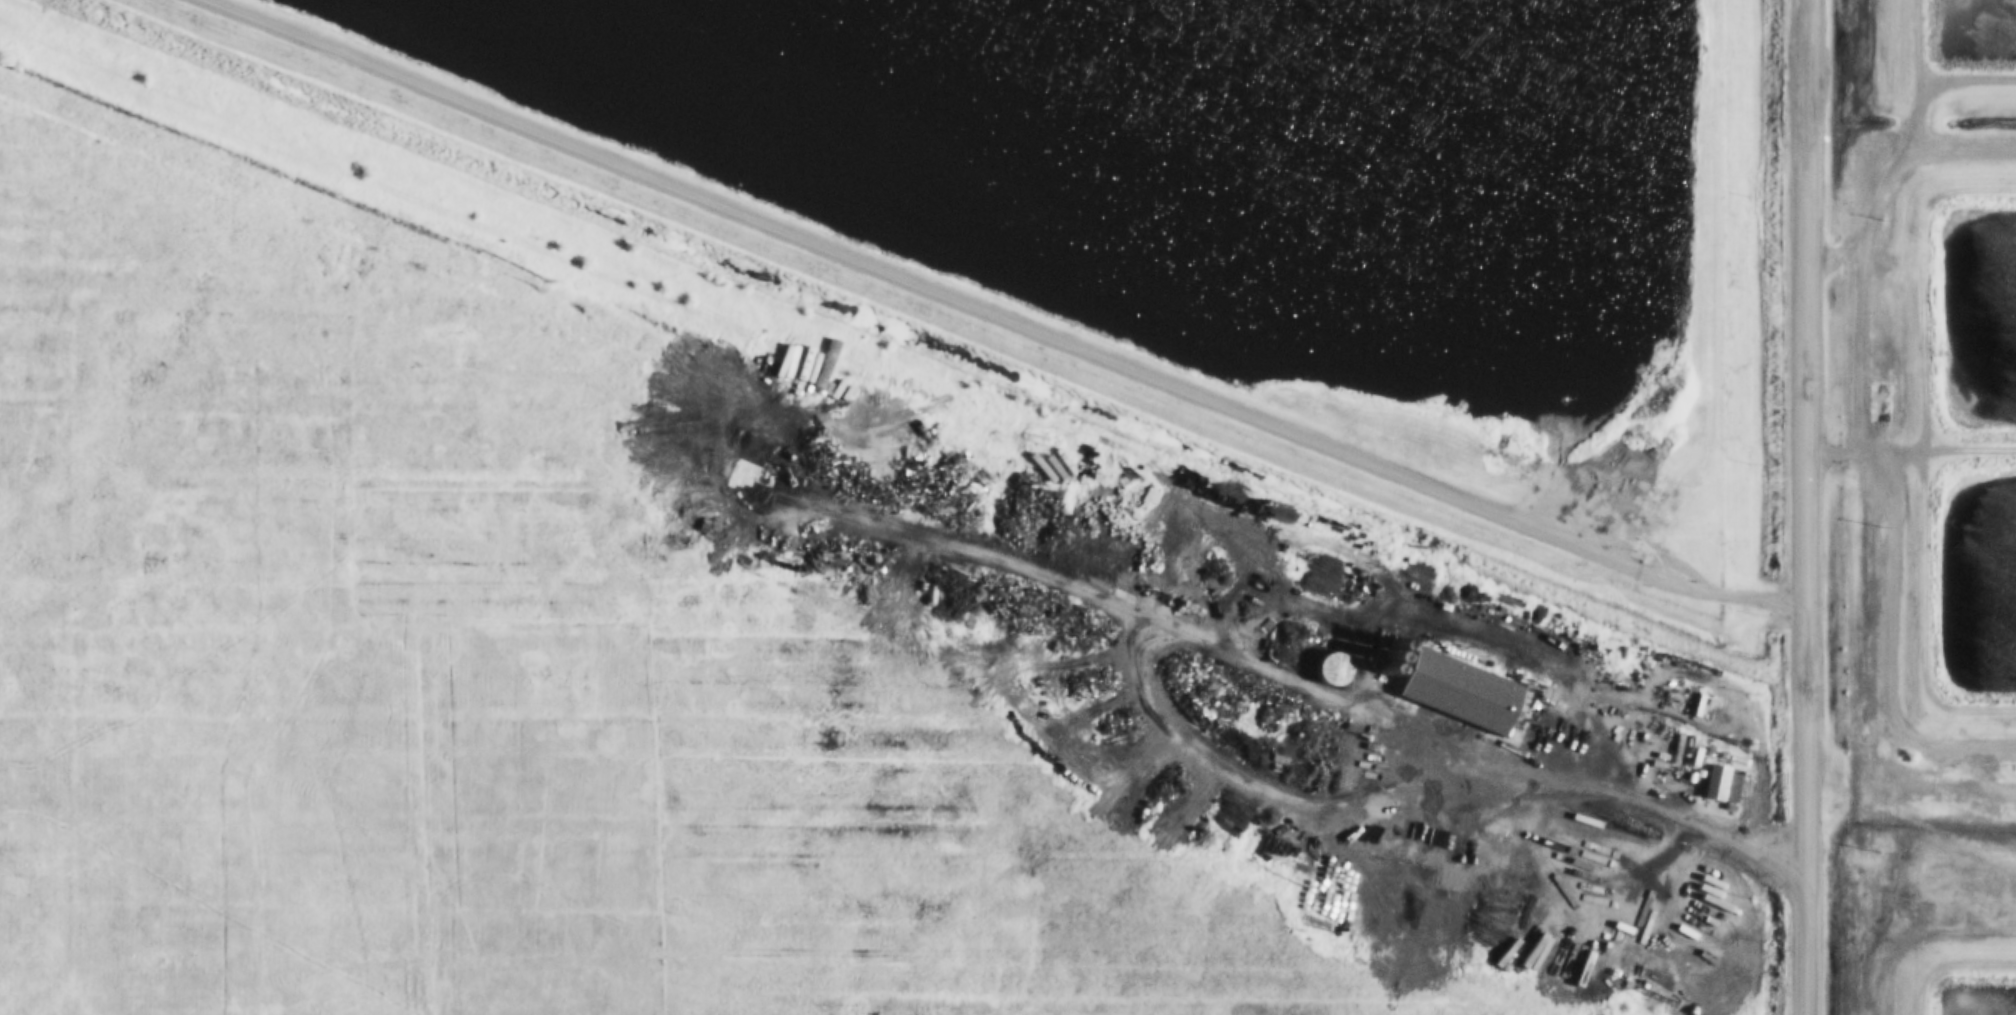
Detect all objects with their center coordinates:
road: (1002, 316)
building: (1880, 402)
road: (1806, 507)
building: (1417, 567)
building: (1458, 687)
building: (1729, 783)
road: (1622, 798)

